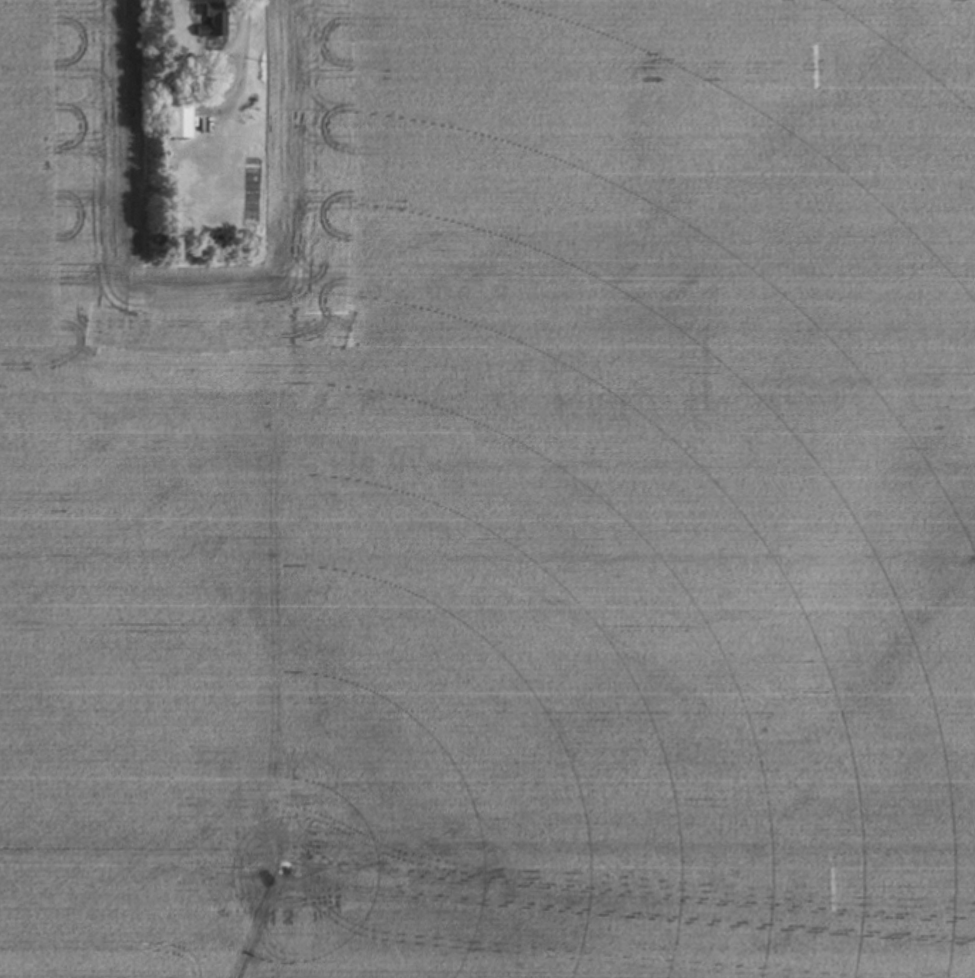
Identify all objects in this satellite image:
building: (217, 22)
road: (260, 25)
building: (182, 115)
crop: (496, 500)

